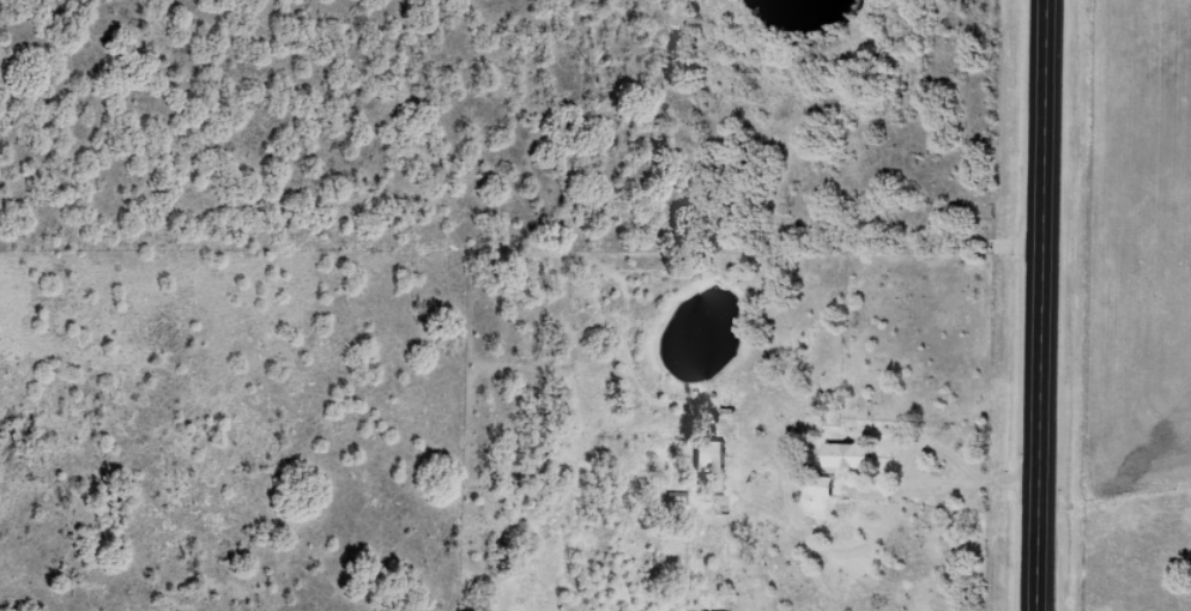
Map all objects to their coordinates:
road: (1041, 305)
building: (711, 455)
building: (850, 455)
building: (822, 486)

